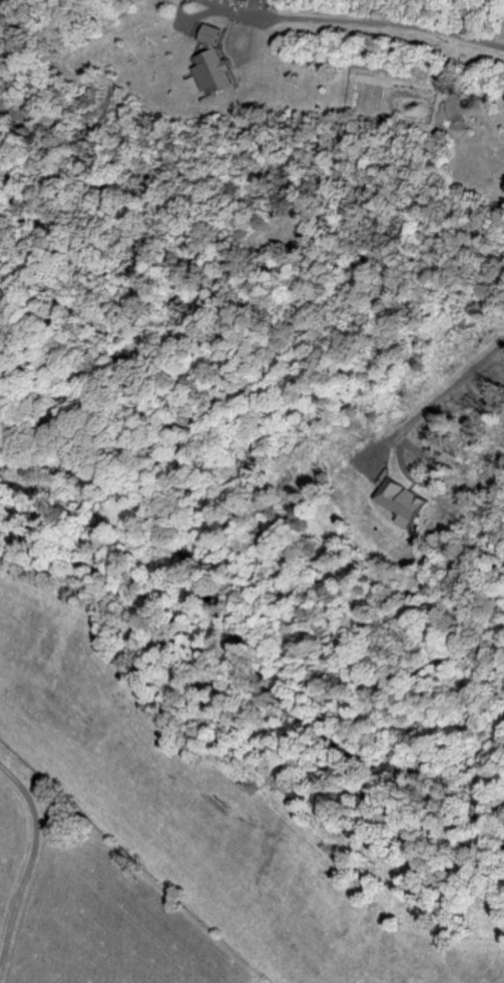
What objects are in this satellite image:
building: (262, 0)
road: (185, 10)
road: (361, 23)
building: (209, 34)
building: (217, 73)
road: (449, 389)
road: (429, 481)
building: (403, 502)
road: (29, 868)

